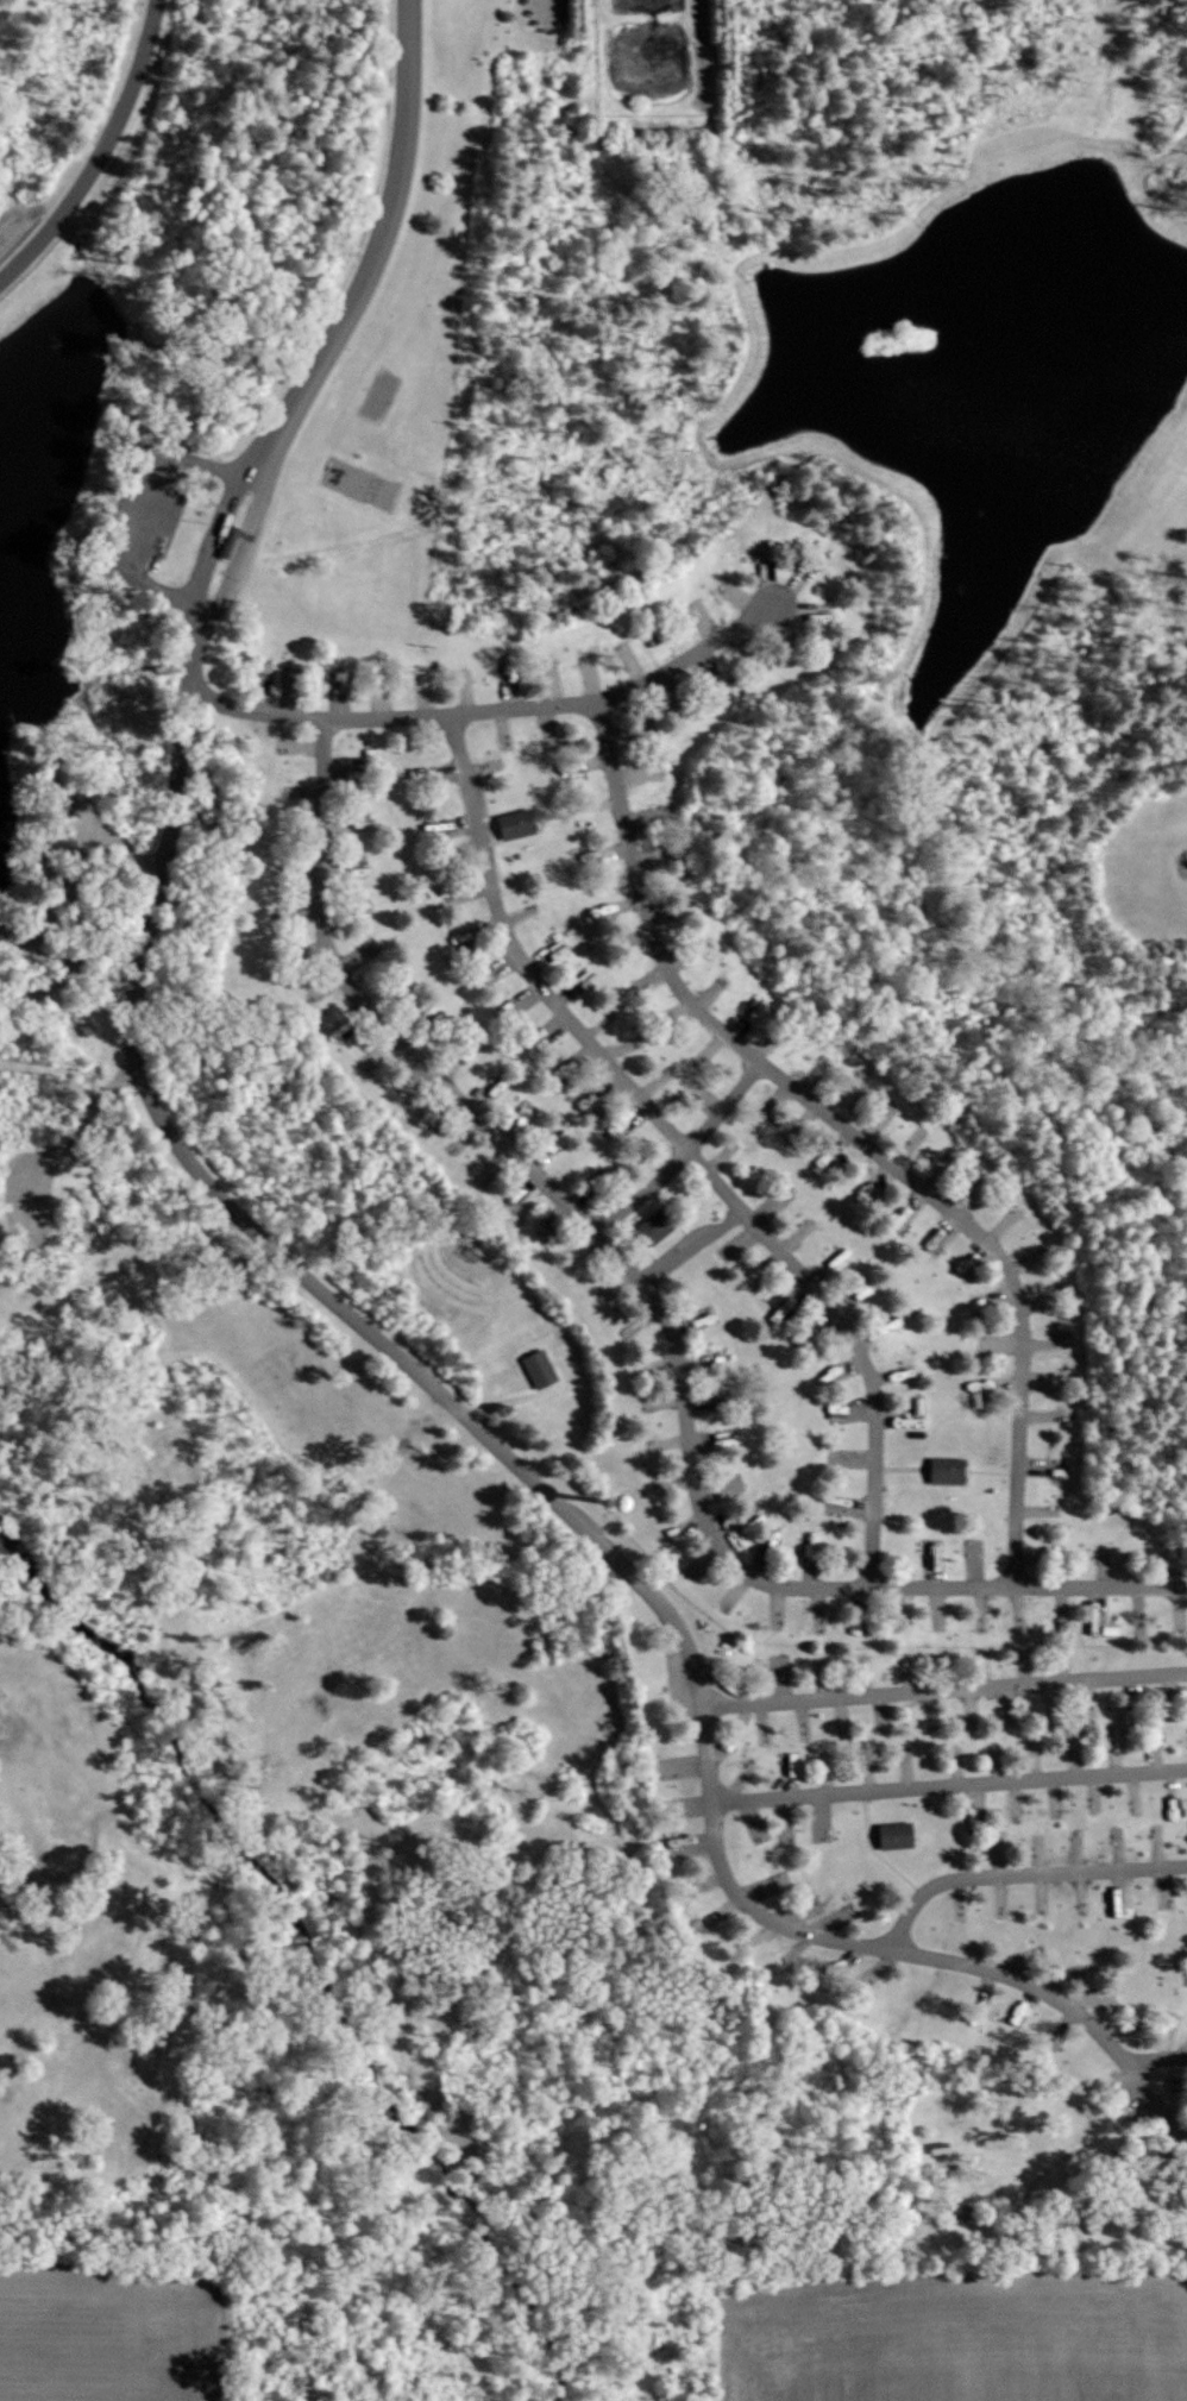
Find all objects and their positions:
road: (981, 1)
road: (541, 5)
road: (698, 52)
road: (102, 151)
road: (1163, 153)
road: (373, 252)
park: (376, 394)
road: (250, 477)
road: (145, 509)
parking lot: (143, 515)
toll booth: (226, 539)
road: (490, 709)
building: (65, 804)
road: (577, 809)
road: (536, 818)
road: (71, 822)
building: (517, 823)
road: (124, 846)
building: (55, 865)
building: (360, 869)
road: (54, 905)
road: (71, 916)
building: (49, 949)
road: (108, 973)
building: (1, 985)
road: (87, 992)
building: (88, 1026)
road: (849, 1132)
road: (67, 1140)
road: (684, 1146)
road: (684, 1152)
parking lot: (26, 1190)
road: (670, 1214)
building: (655, 1227)
road: (638, 1240)
road: (671, 1257)
road: (661, 1311)
building: (536, 1368)
building: (981, 1390)
road: (494, 1401)
building: (731, 1439)
road: (962, 1457)
road: (898, 1466)
building: (942, 1469)
road: (987, 1471)
road: (525, 1473)
water tower: (611, 1502)
road: (944, 1687)
road: (949, 1785)
building: (896, 1834)
road: (874, 1850)
road: (1020, 1873)
road: (1154, 2057)
parking lot: (1133, 2097)
building: (940, 2147)
road: (1074, 2148)
road: (1067, 2180)
building: (963, 2214)
building: (1015, 2220)
building: (1087, 2224)

